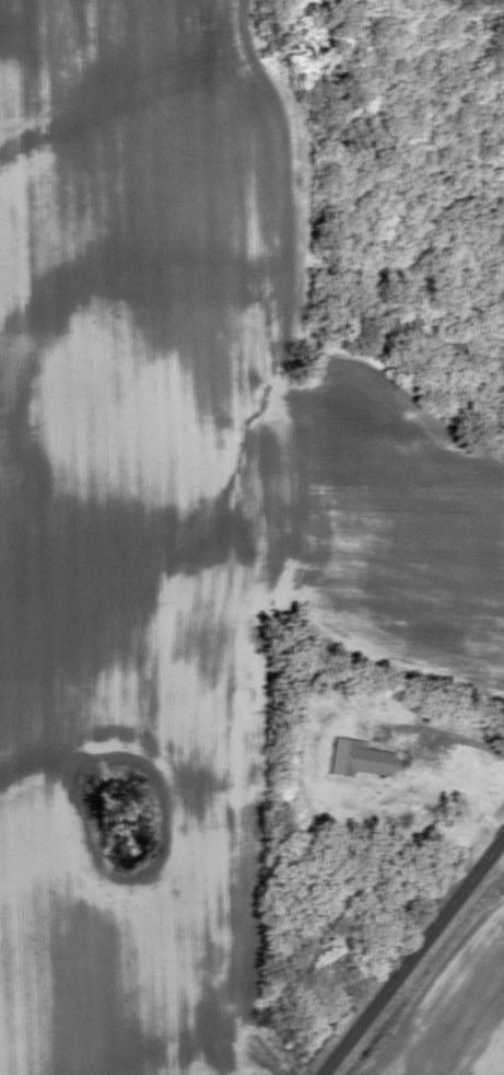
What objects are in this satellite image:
building: (355, 758)
road: (410, 952)

